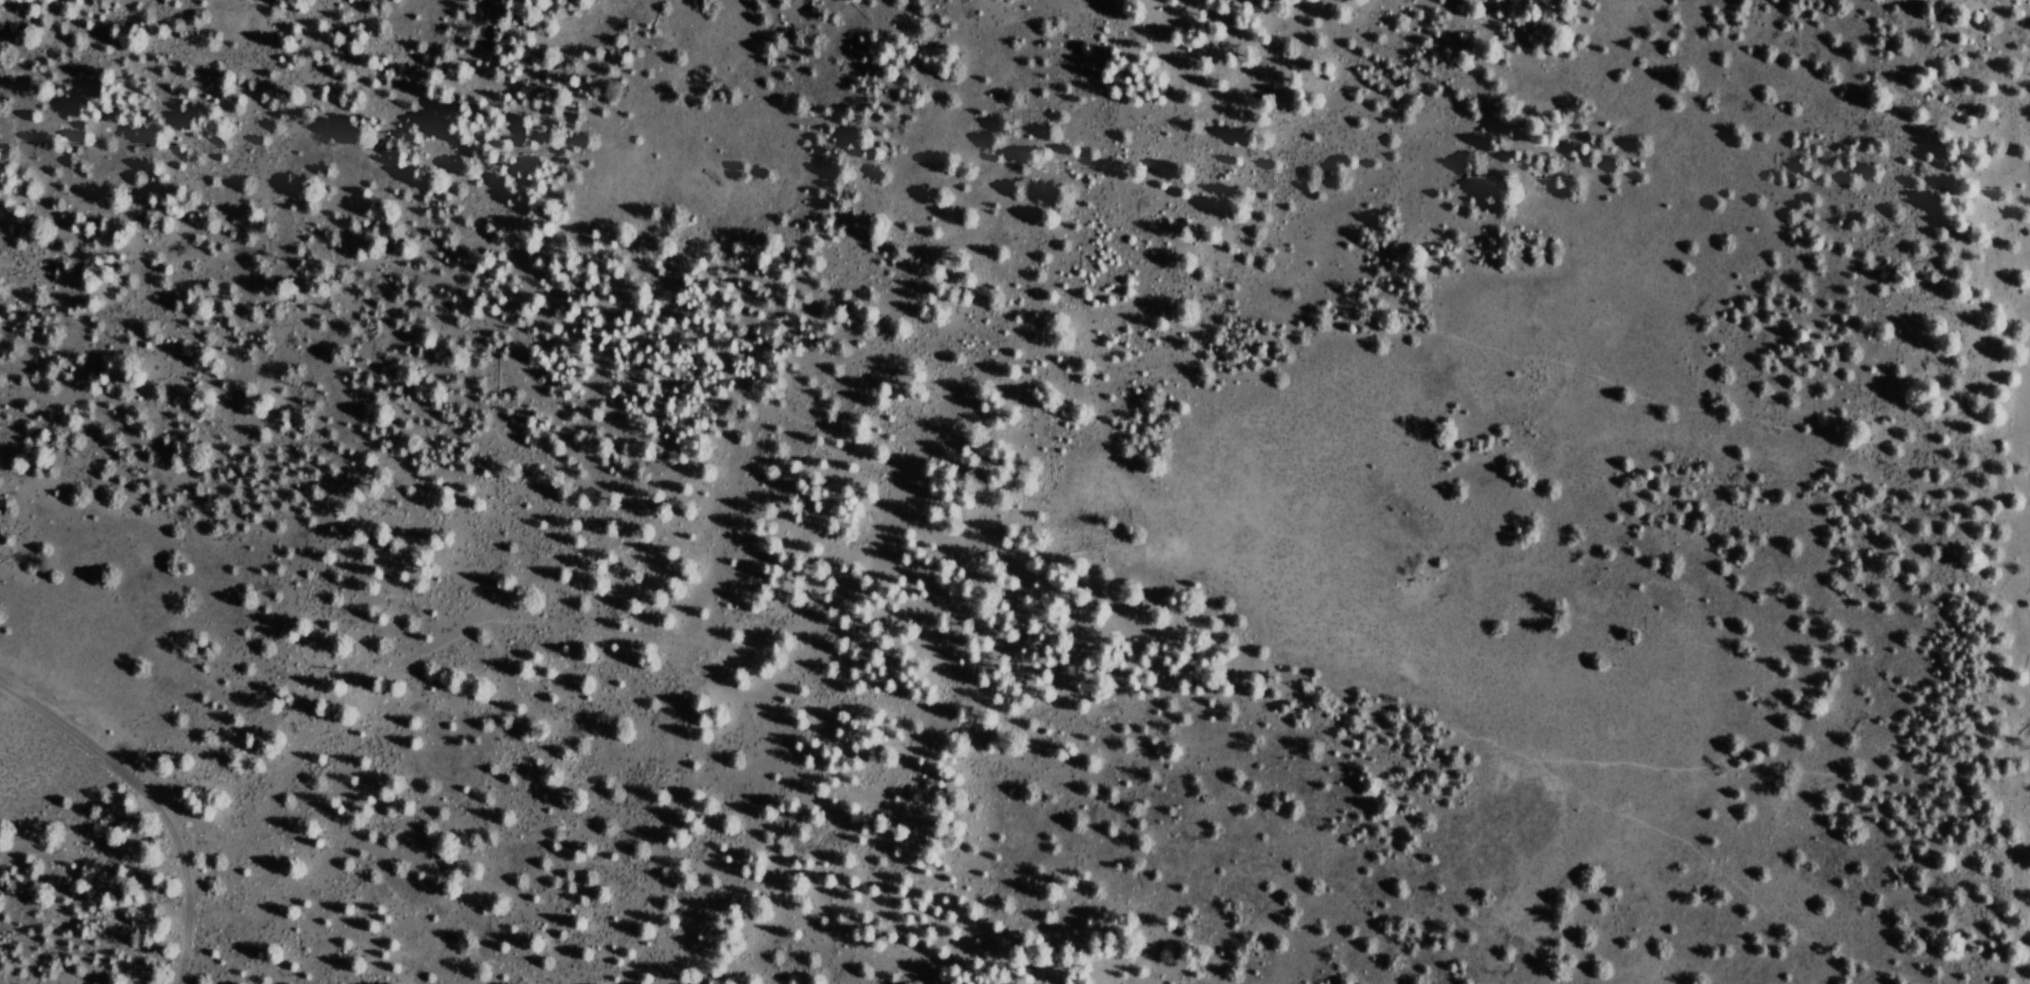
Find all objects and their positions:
road: (155, 794)

